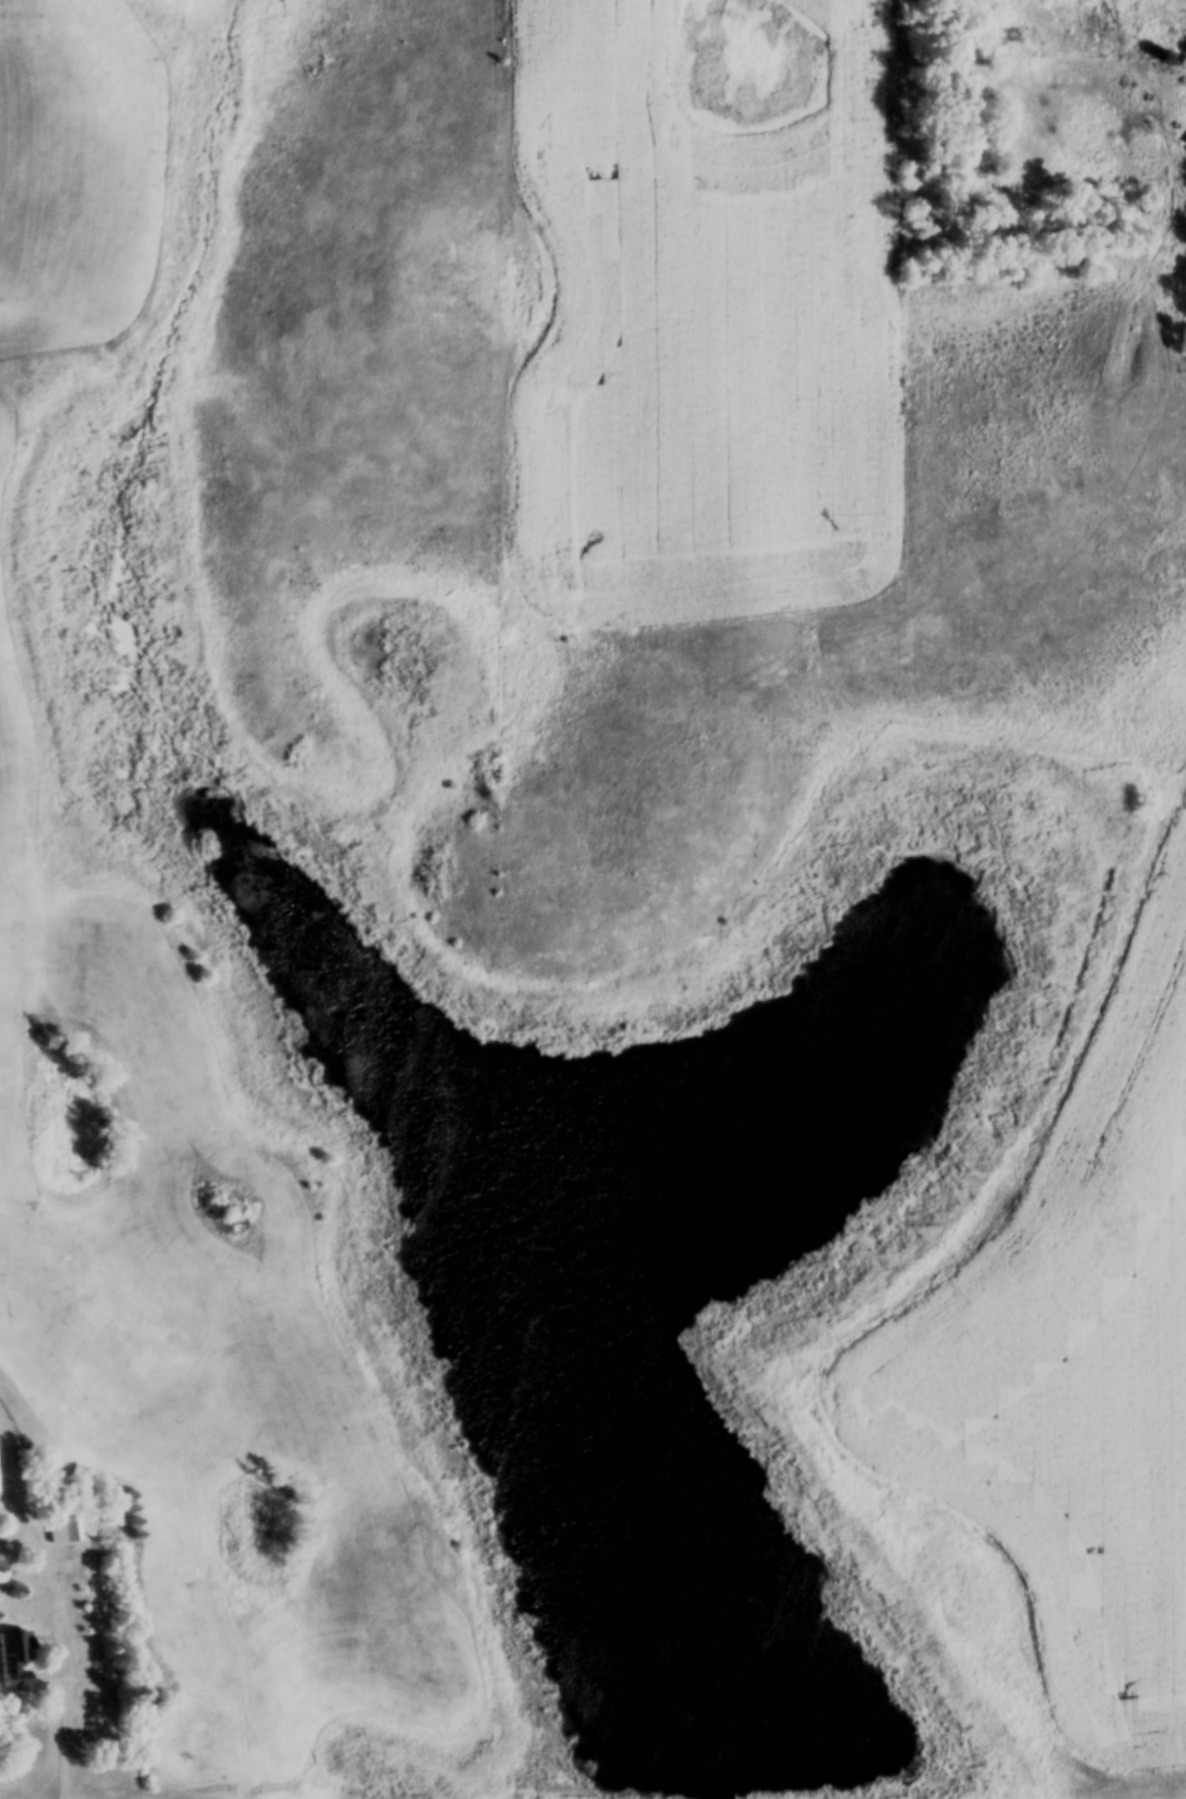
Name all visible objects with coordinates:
building: (1185, 66)
river: (527, 1237)
building: (62, 1531)
building: (1, 1574)
road: (69, 1664)

